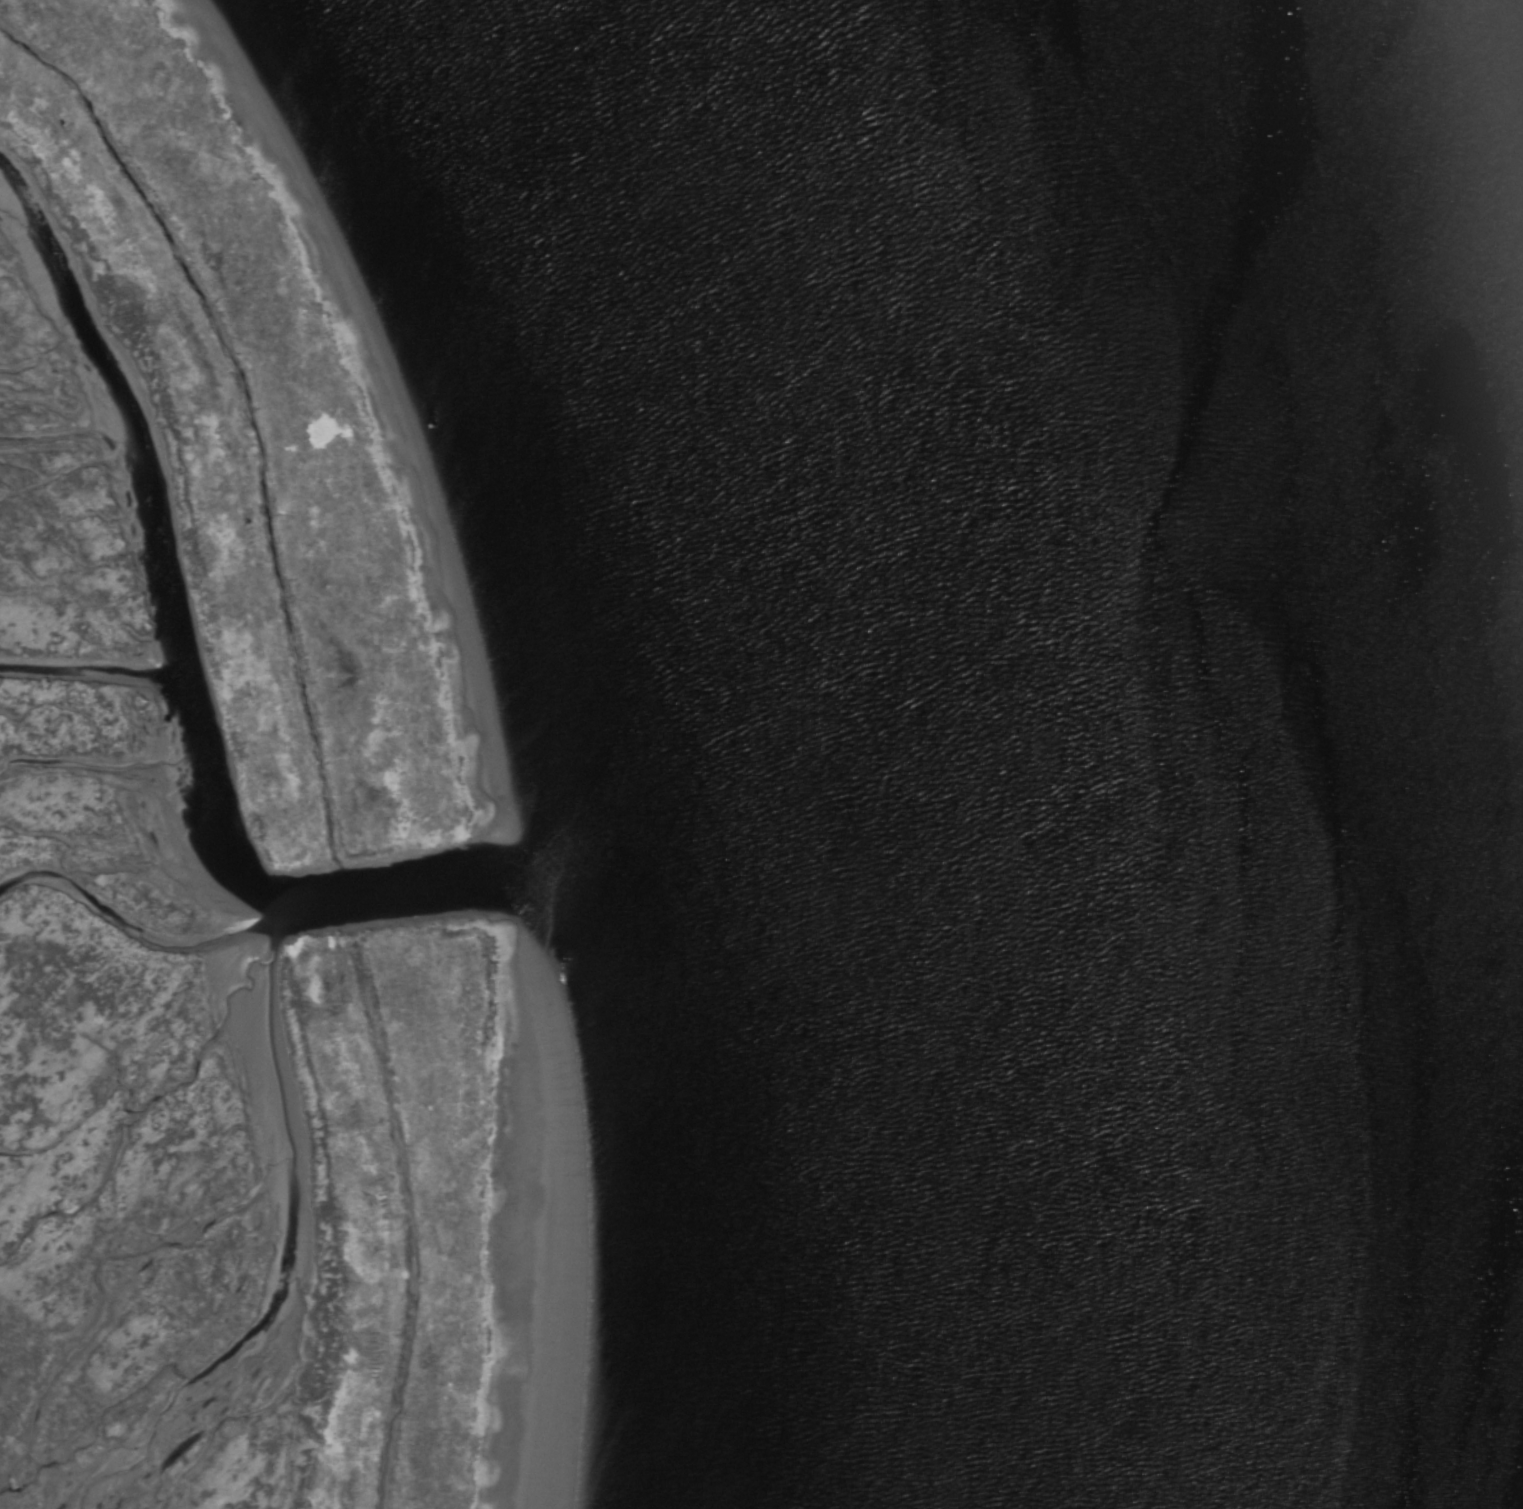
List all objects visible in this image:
river: (1277, 695)

